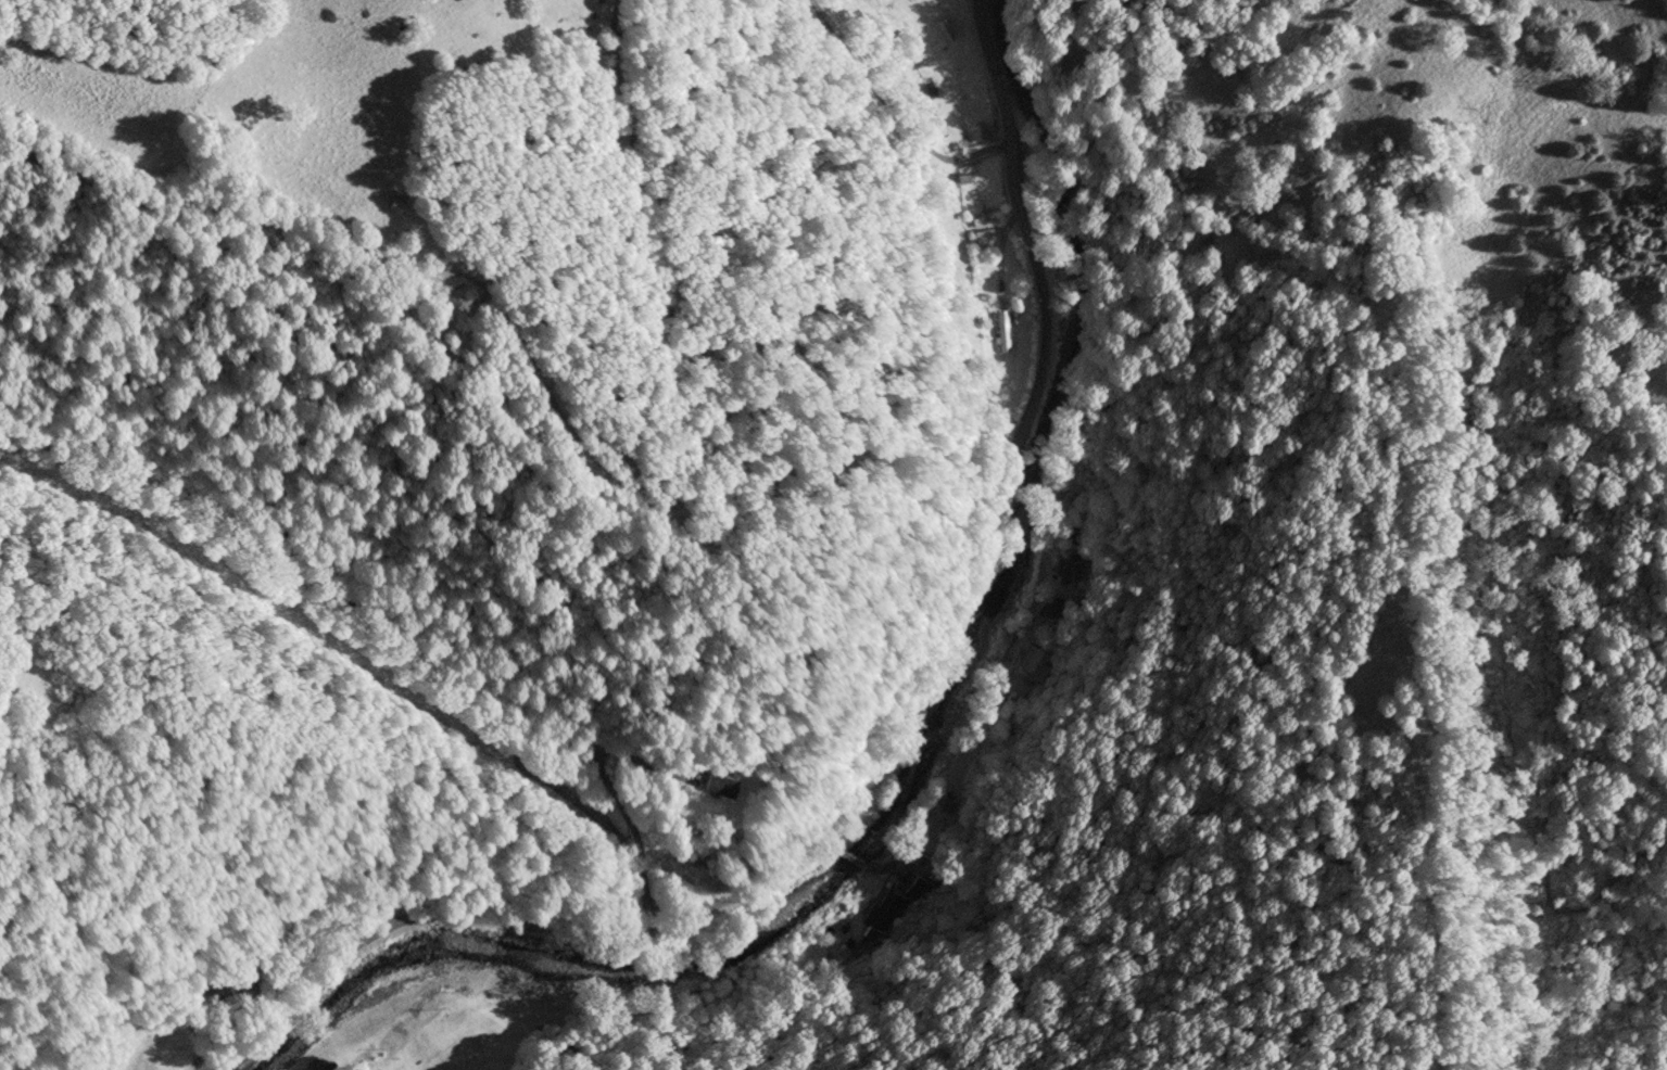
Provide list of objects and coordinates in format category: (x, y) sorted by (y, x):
building: (944, 29)
road: (995, 72)
building: (931, 87)
road: (892, 114)
building: (930, 119)
building: (964, 178)
building: (395, 200)
building: (978, 222)
building: (1003, 331)
road: (674, 499)
building: (1075, 530)
building: (1074, 575)
road: (962, 735)
building: (717, 787)
building: (944, 805)
road: (846, 810)
road: (828, 841)
road: (853, 856)

